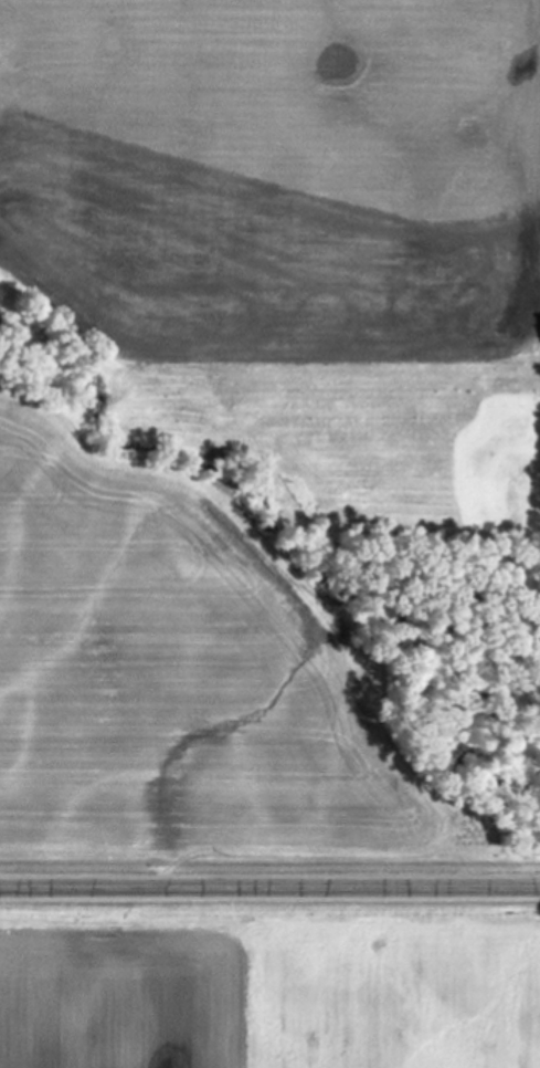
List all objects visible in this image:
road: (269, 887)

